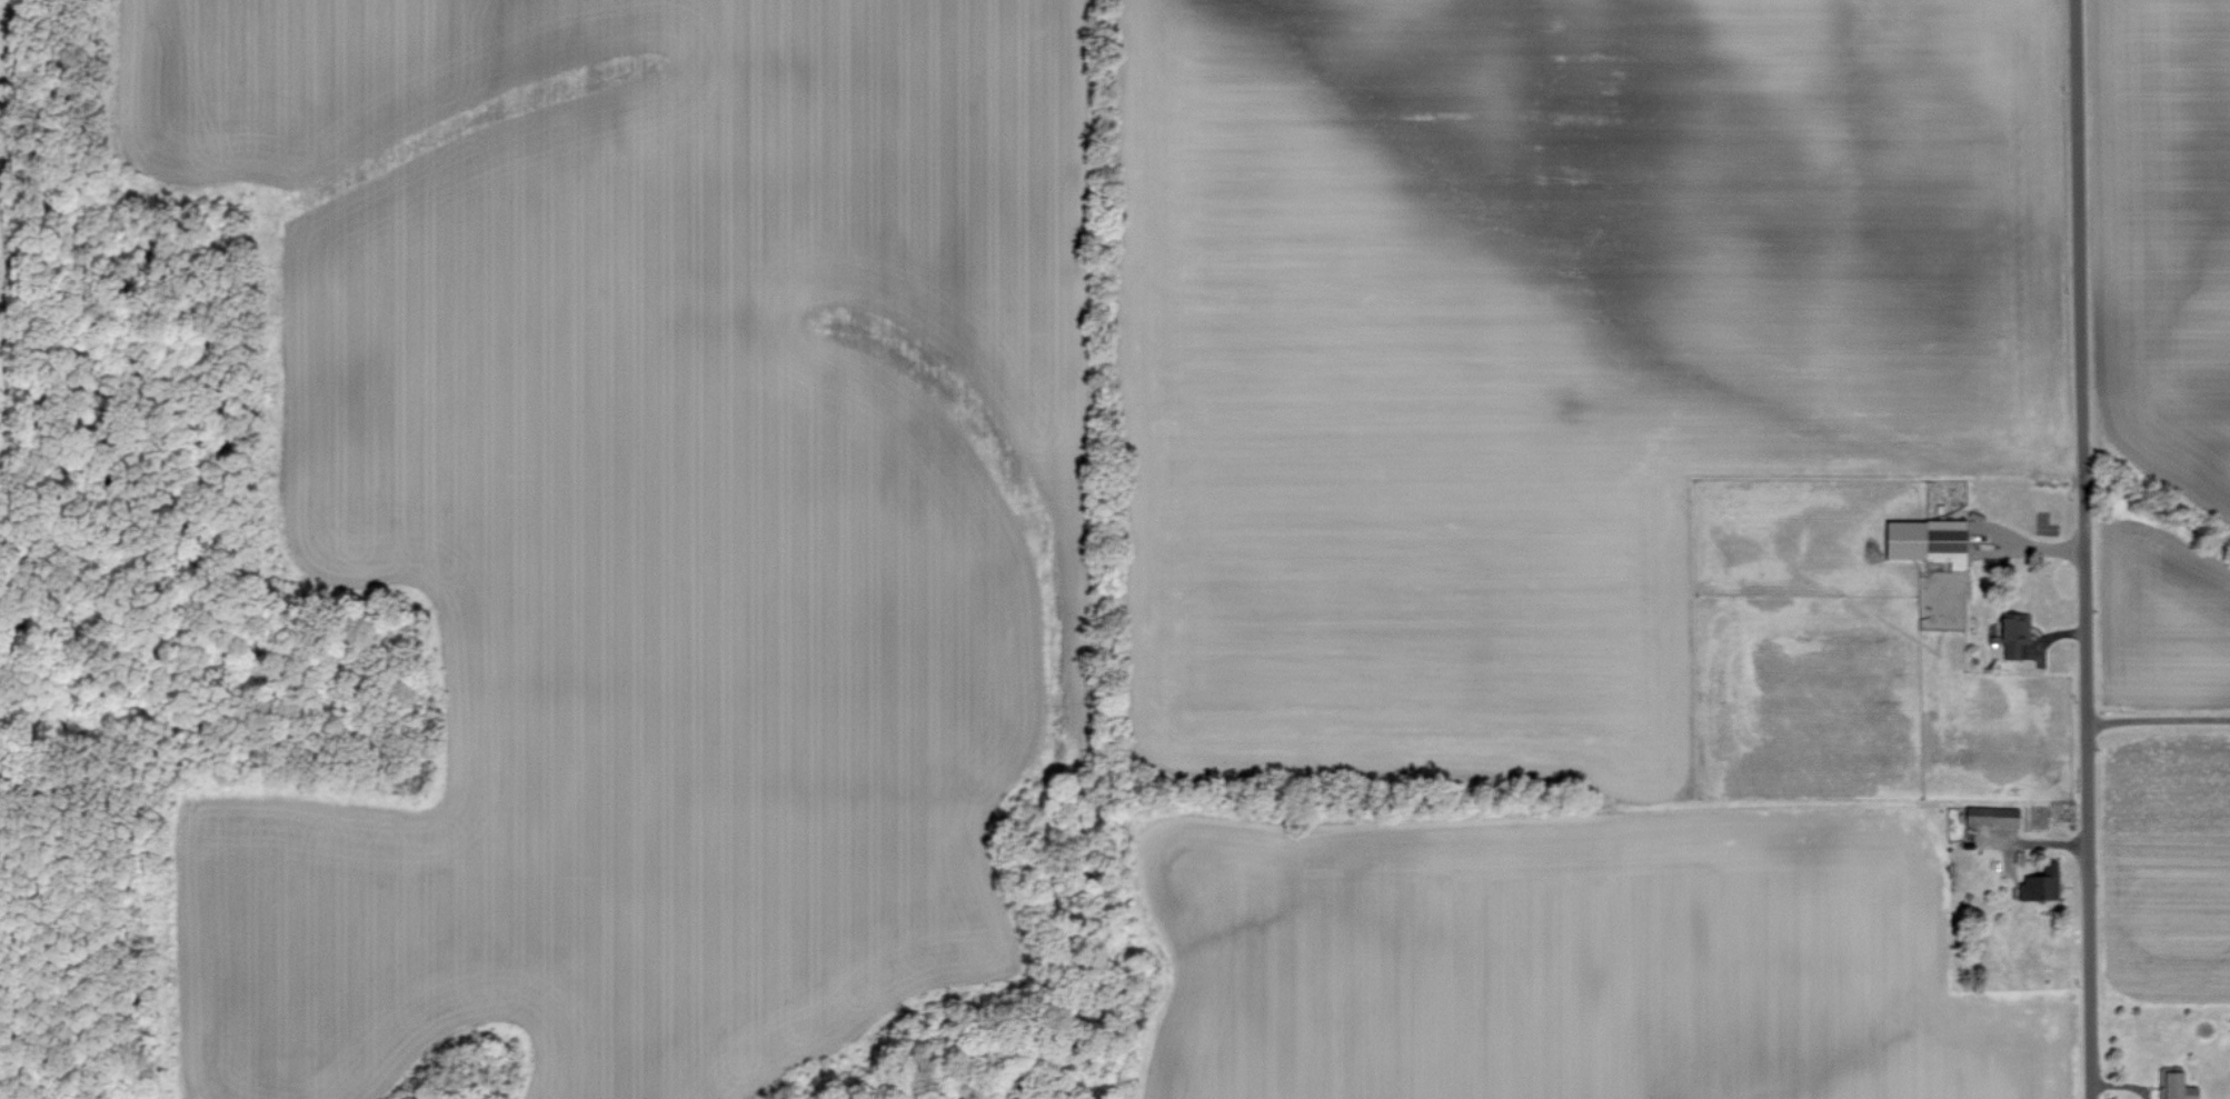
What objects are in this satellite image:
building: (1923, 542)
road: (2082, 549)
building: (2013, 628)
road: (2158, 720)
building: (1991, 818)
building: (2041, 886)
building: (2176, 1087)

